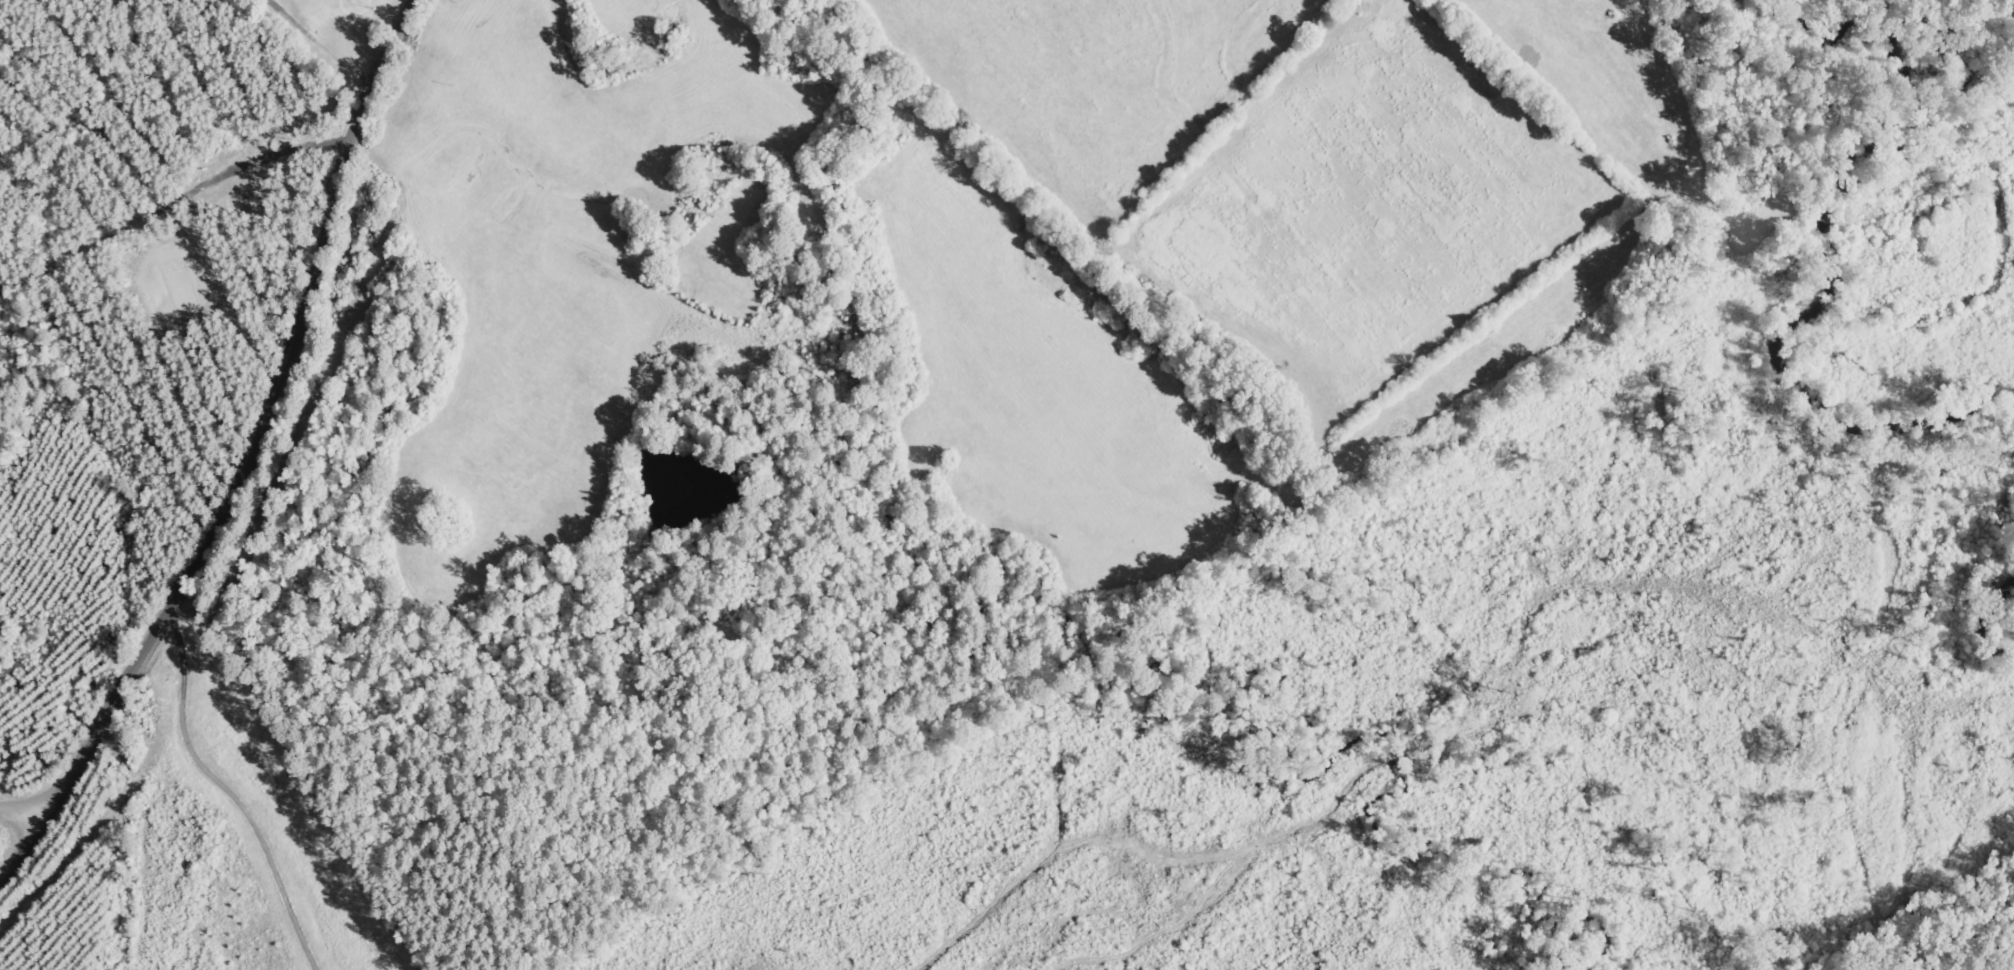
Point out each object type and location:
road: (1028, 254)
road: (147, 347)
road: (280, 441)
road: (20, 821)
road: (241, 840)
road: (37, 884)

